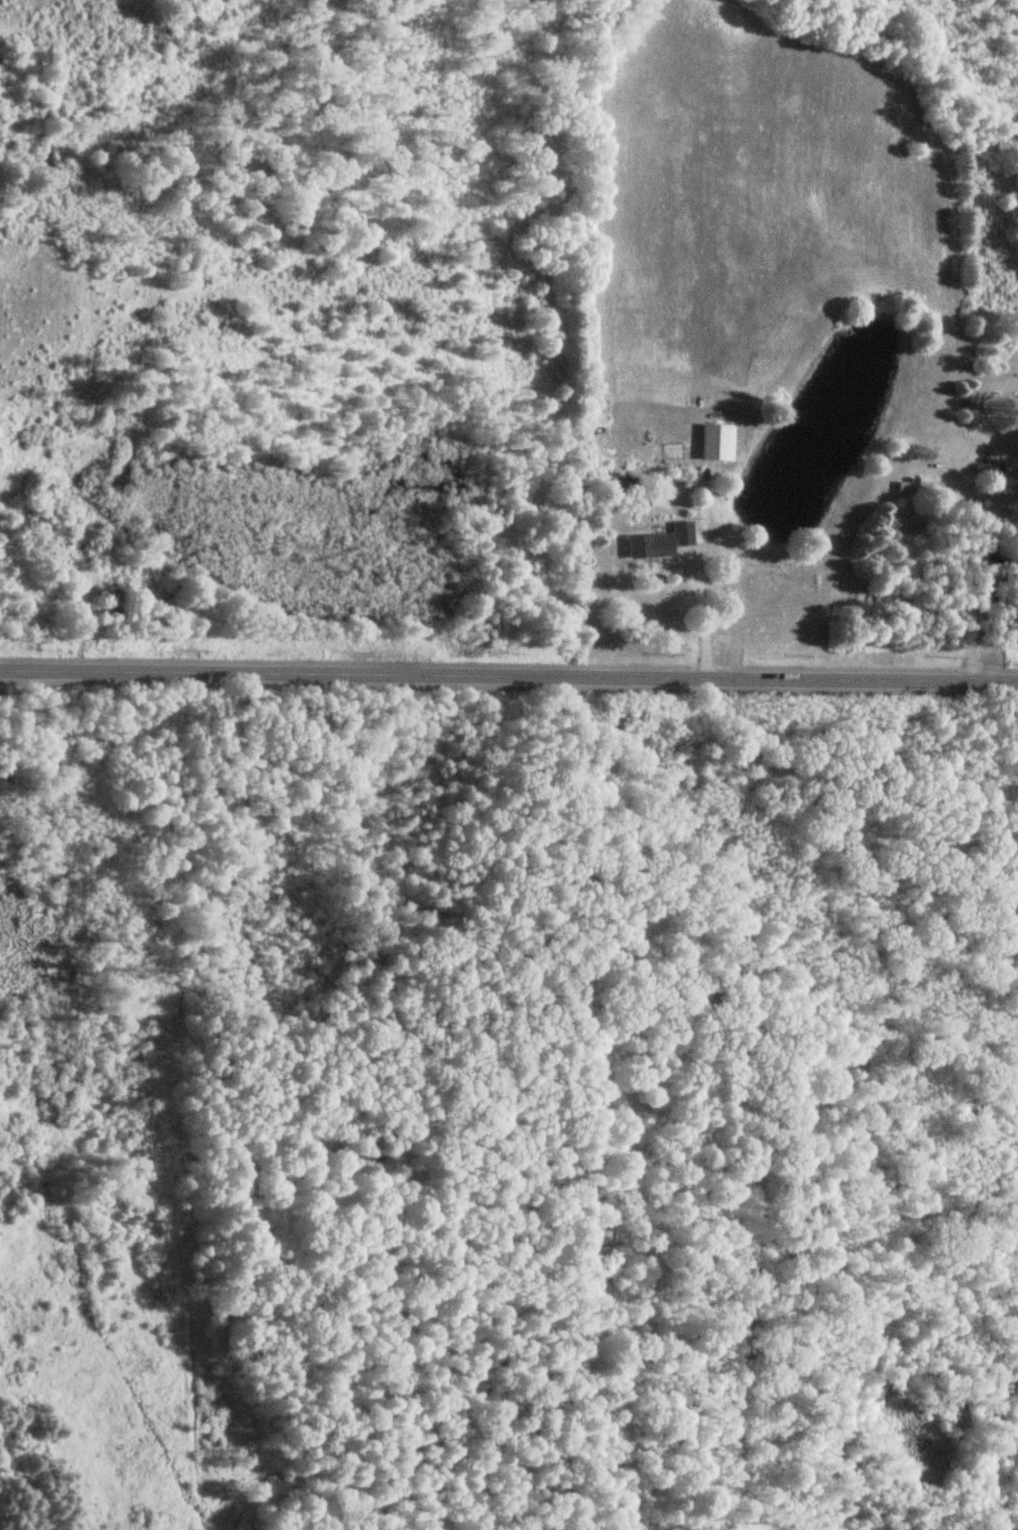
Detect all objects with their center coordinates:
building: (981, 464)
building: (916, 486)
building: (659, 542)
building: (111, 605)
road: (704, 617)
road: (509, 677)
river: (62, 1229)

